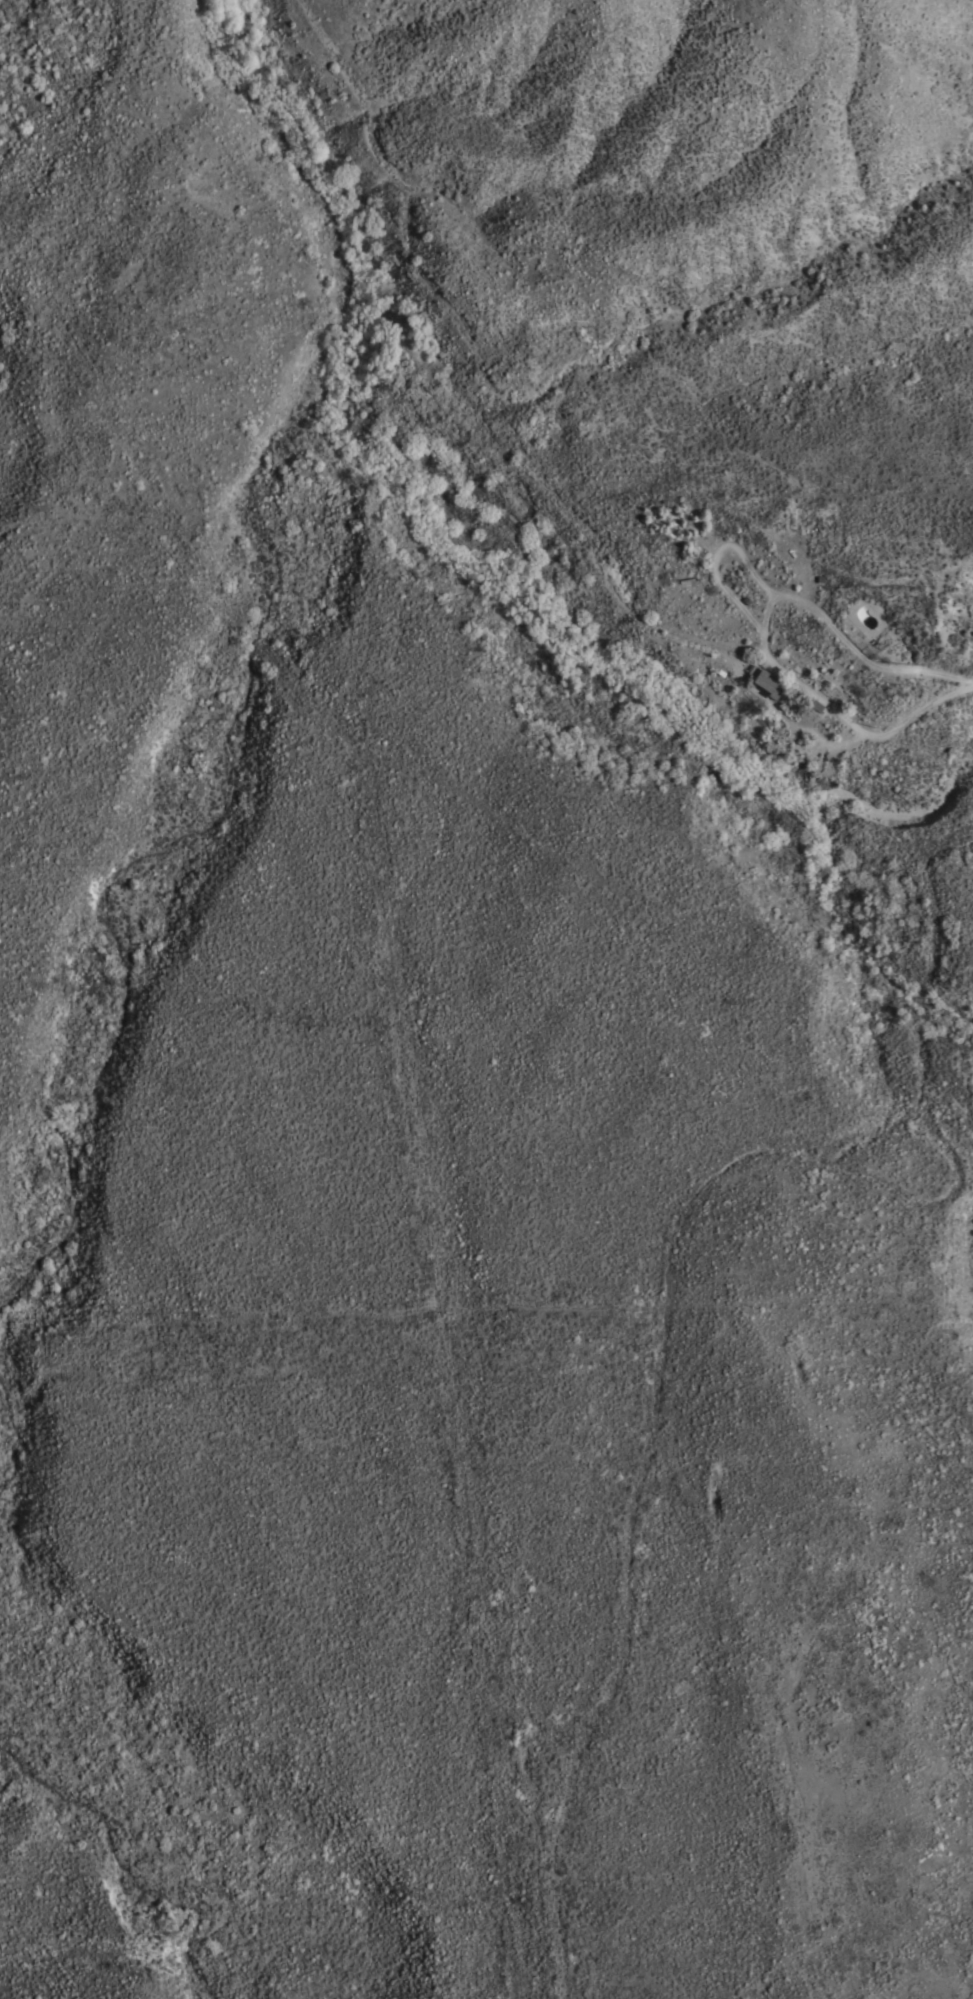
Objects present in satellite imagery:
road: (719, 555)
road: (765, 633)
building: (769, 677)
road: (811, 729)

